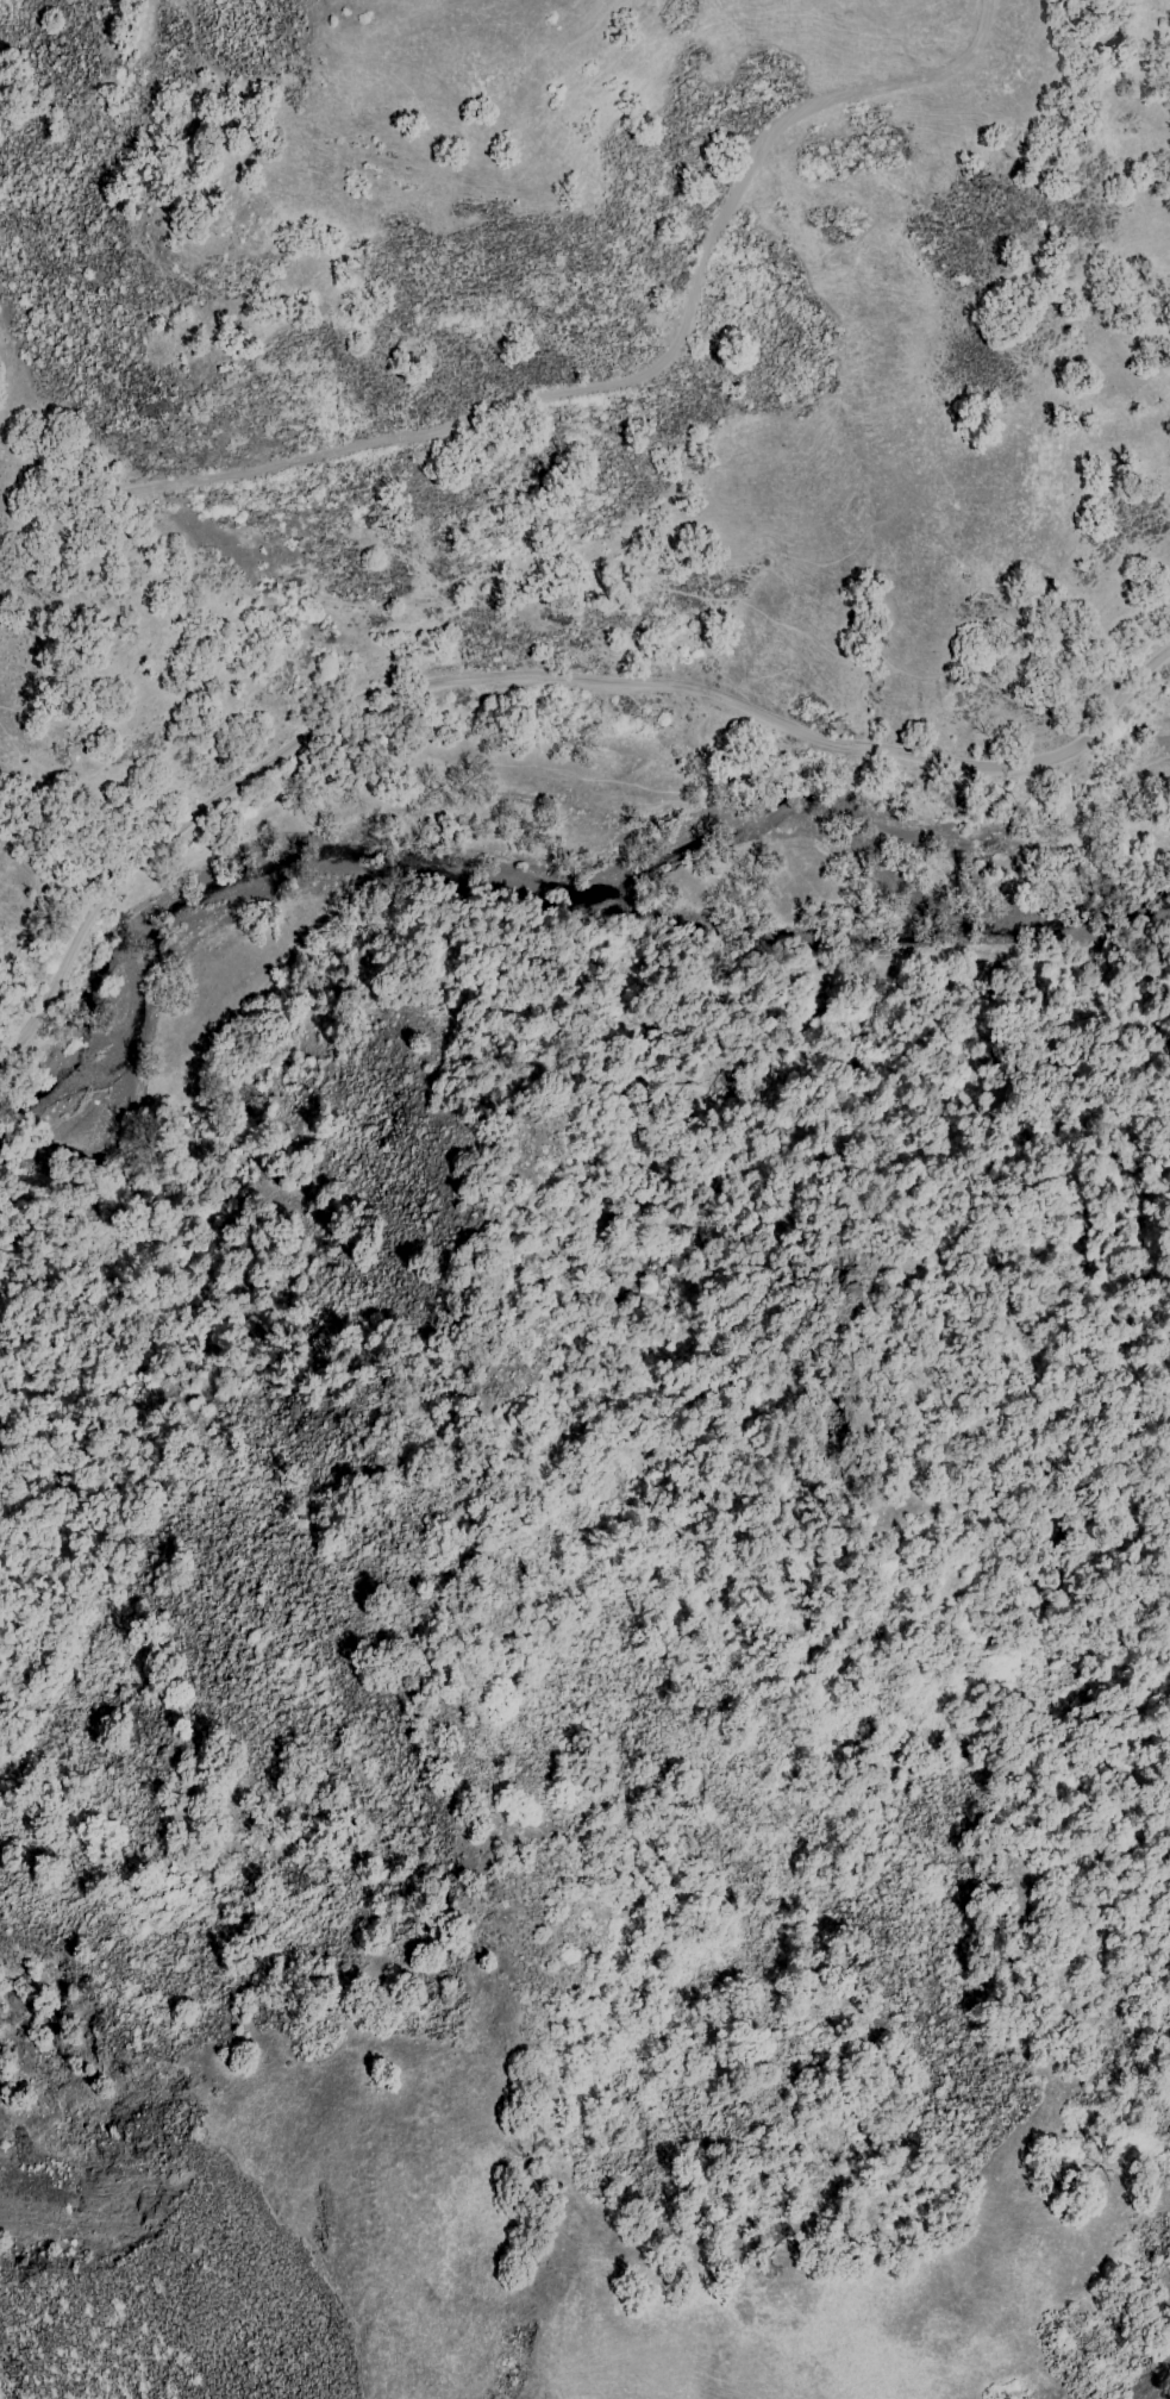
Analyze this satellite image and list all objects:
road: (561, 406)
road: (586, 586)
road: (540, 680)
river: (543, 870)

